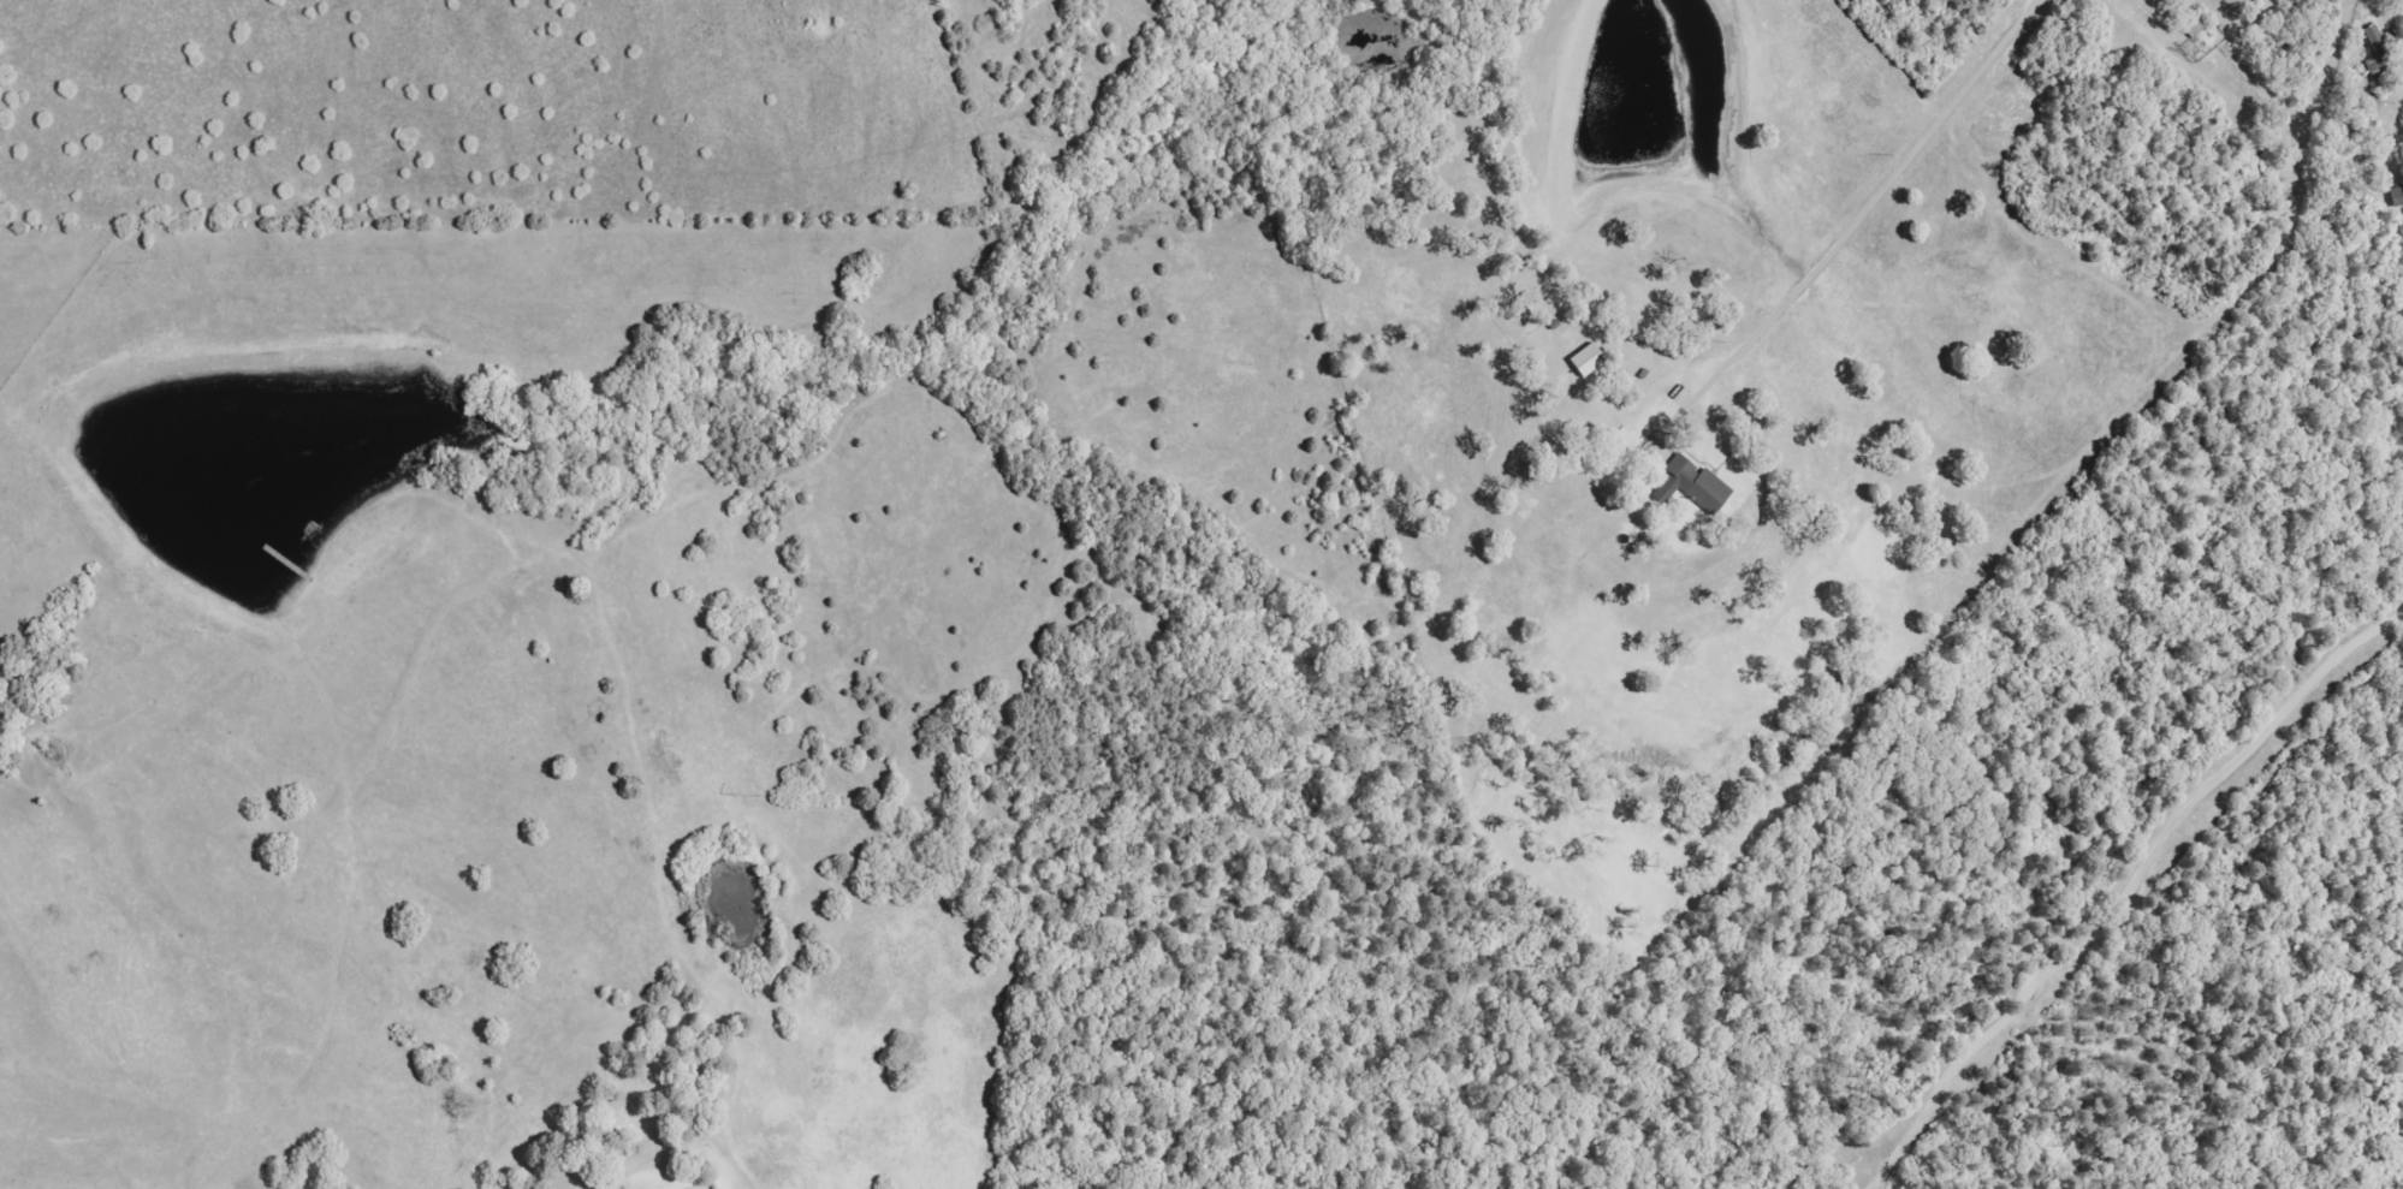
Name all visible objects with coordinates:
building: (2379, 52)
road: (2402, 105)
building: (2398, 196)
road: (1862, 219)
building: (1590, 361)
building: (1699, 484)
road: (2126, 891)

